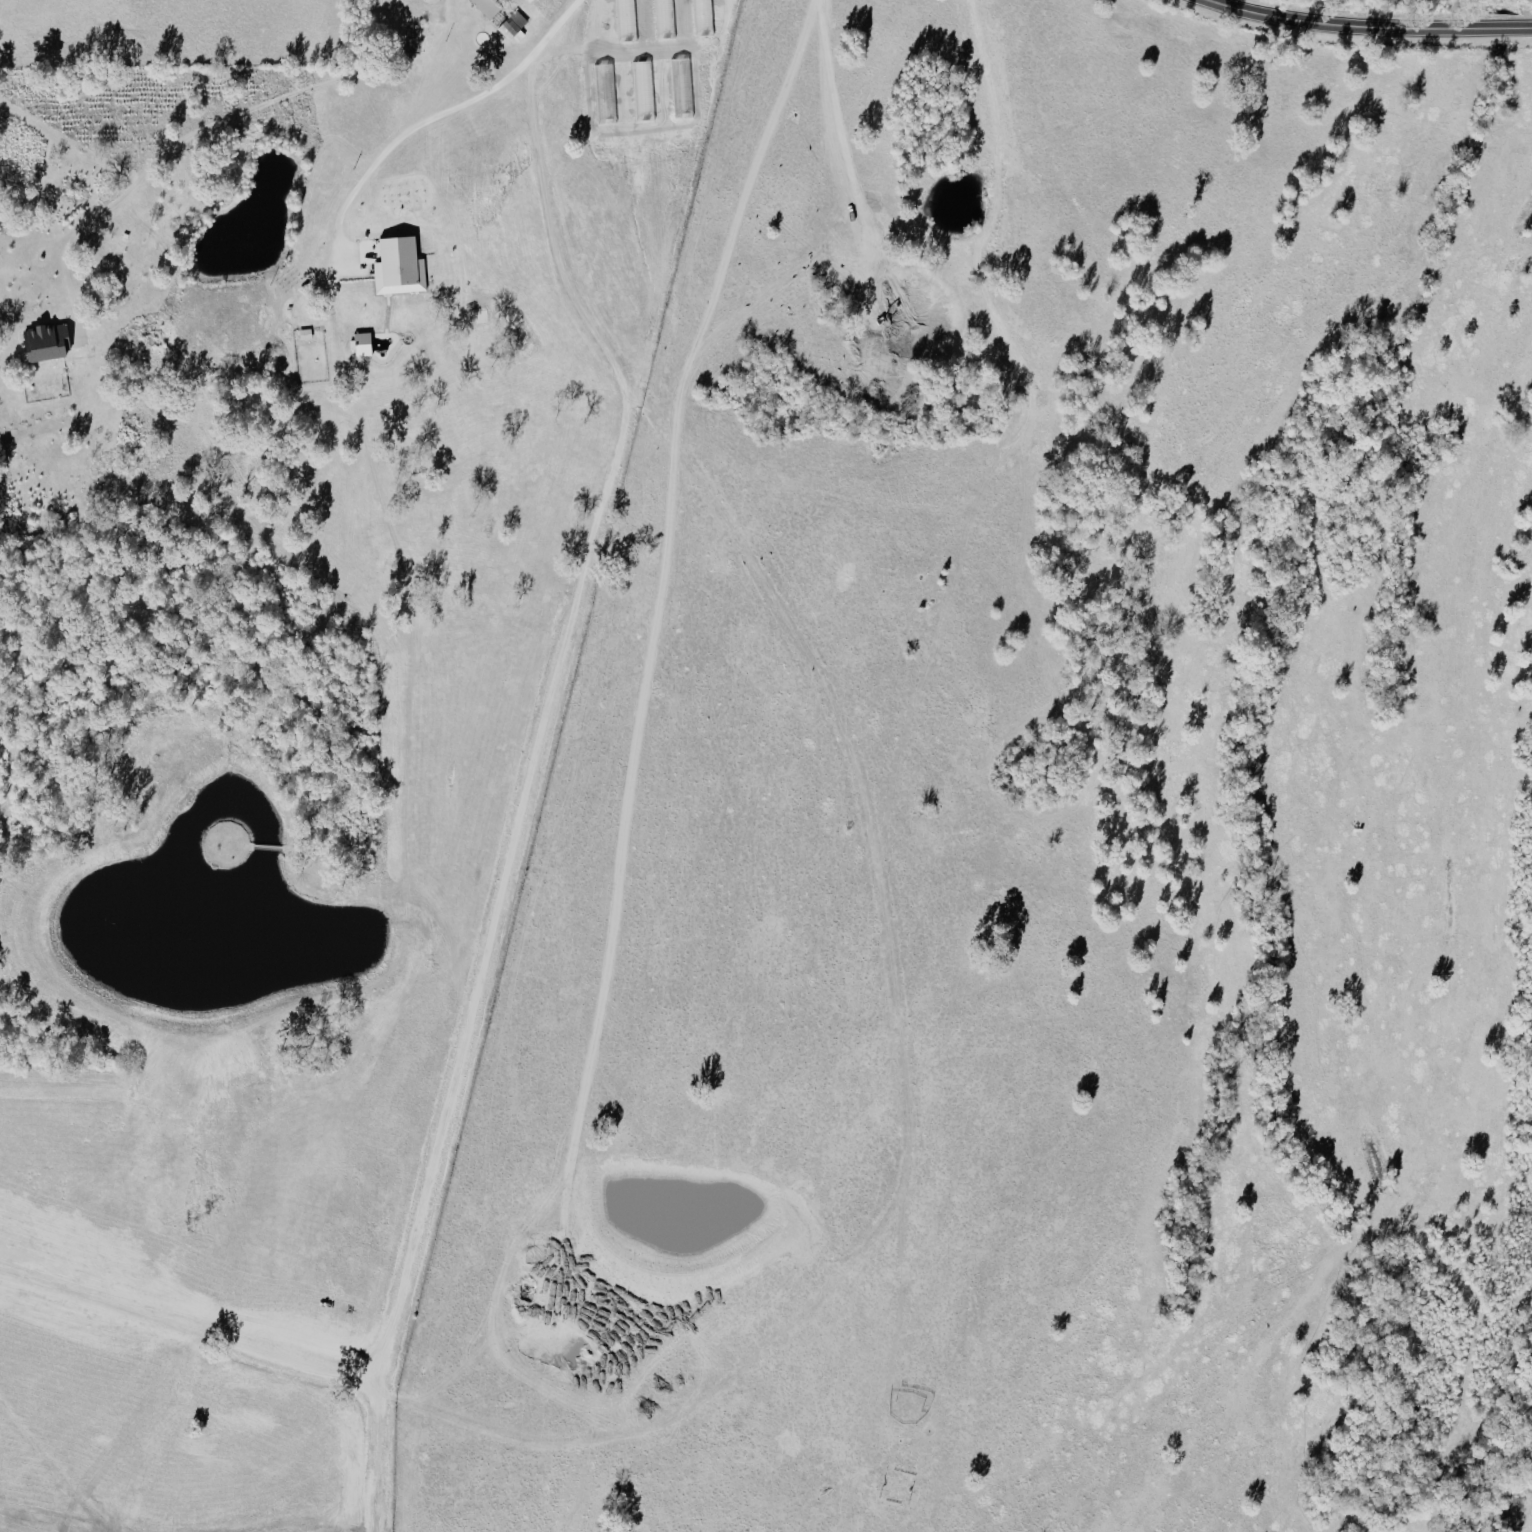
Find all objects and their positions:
building: (489, 7)
road: (1375, 21)
building: (512, 30)
road: (449, 117)
road: (213, 132)
building: (401, 266)
building: (49, 342)
building: (364, 343)

